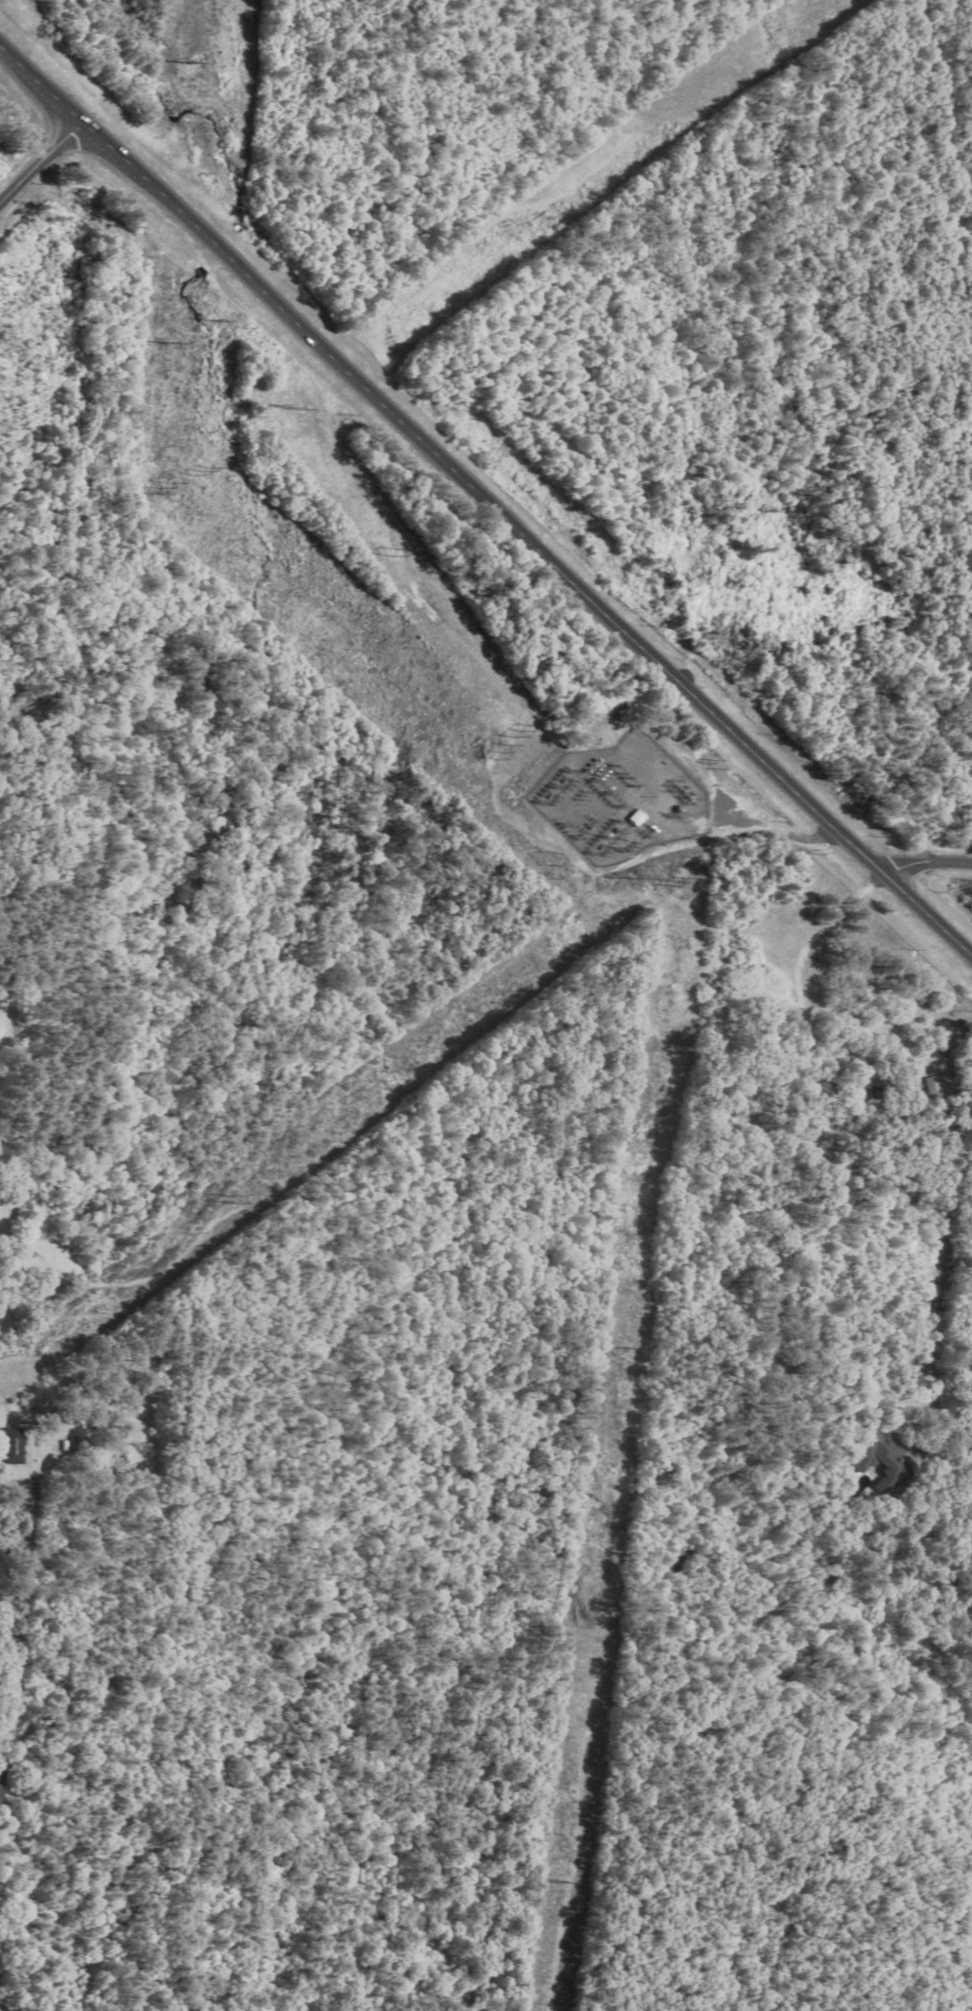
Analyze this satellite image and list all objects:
road: (36, 160)
road: (483, 506)
road: (23, 730)
power substation: (615, 798)
building: (634, 817)
road: (926, 862)
building: (12, 1445)
building: (871, 1455)

